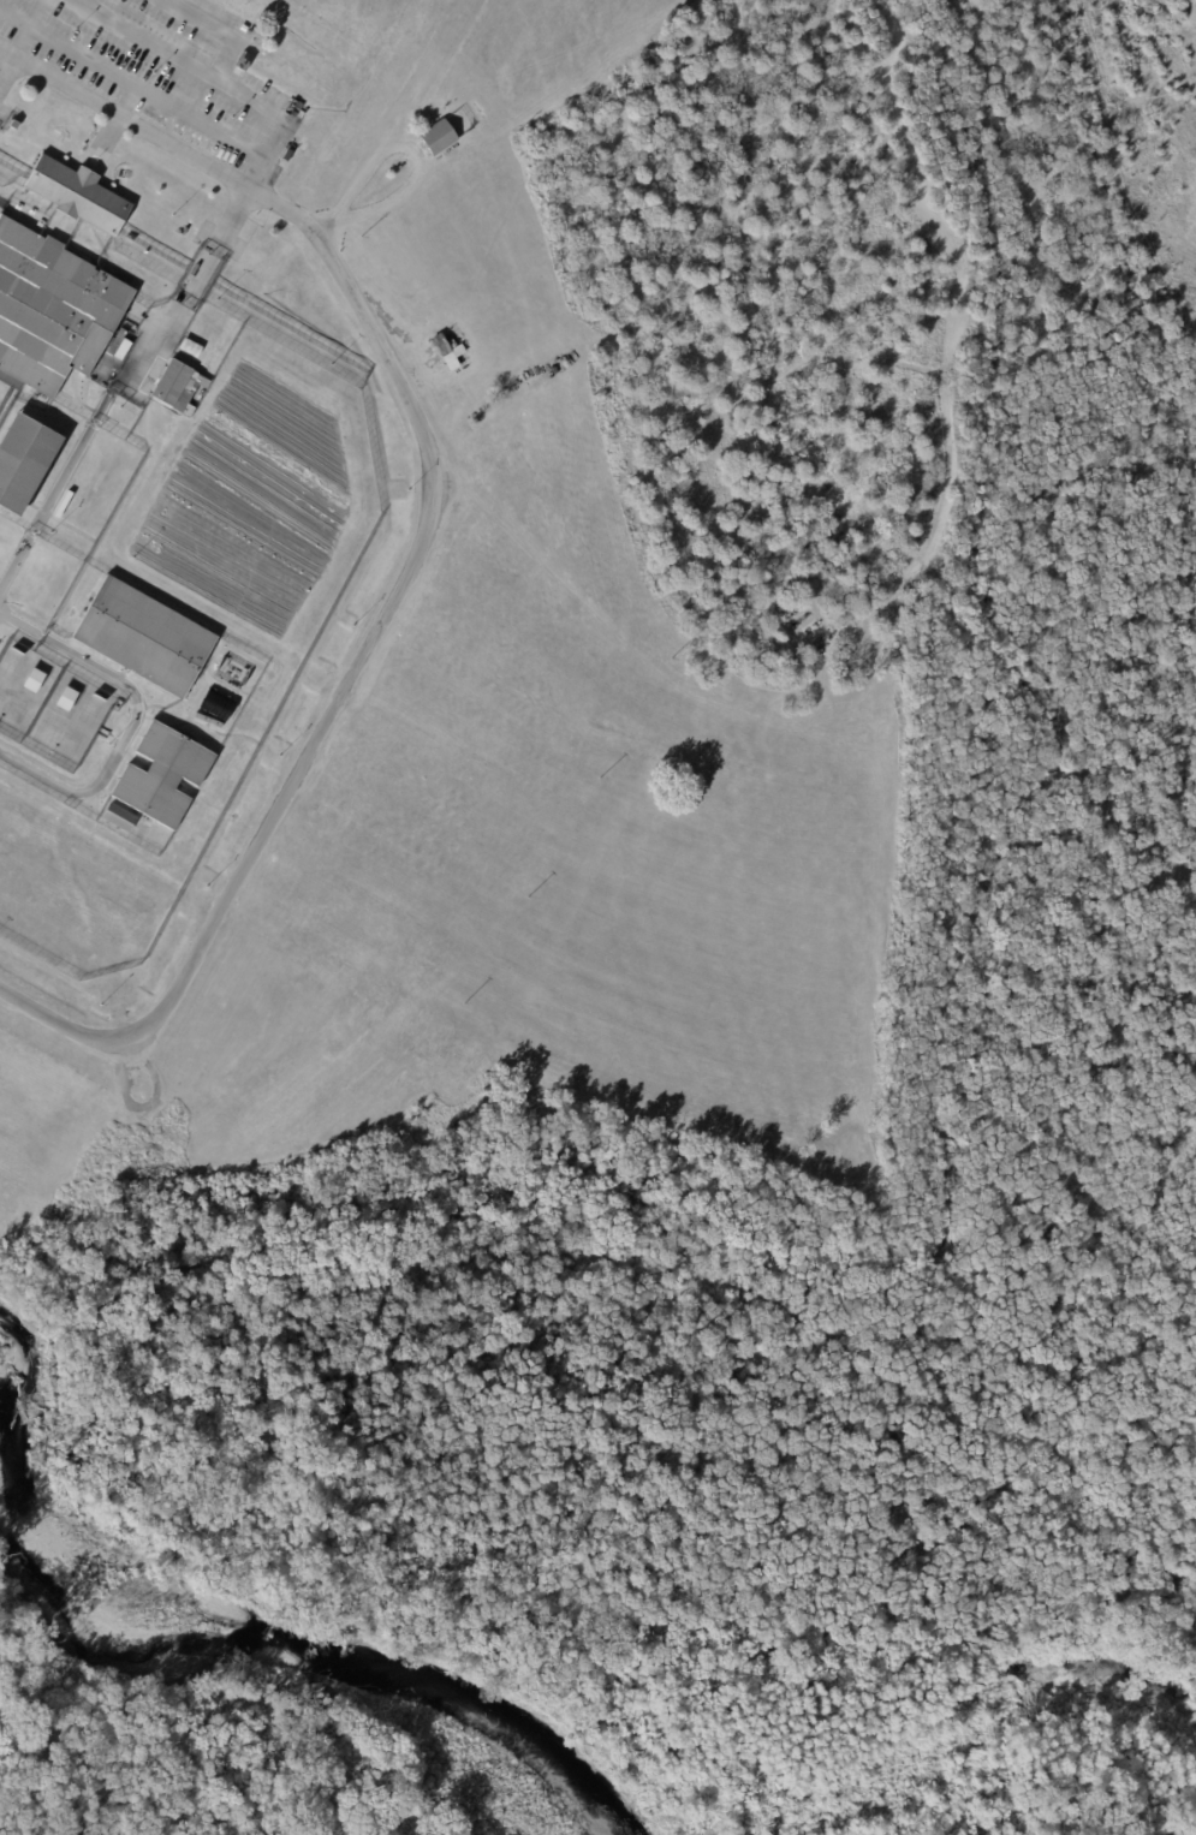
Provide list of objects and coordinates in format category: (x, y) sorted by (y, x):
road: (30, 28)
road: (219, 29)
road: (183, 58)
building: (244, 60)
road: (7, 71)
road: (132, 83)
road: (126, 99)
building: (12, 124)
road: (107, 136)
building: (441, 137)
road: (403, 147)
road: (269, 153)
building: (76, 195)
building: (8, 209)
building: (22, 216)
building: (31, 222)
building: (52, 311)
building: (190, 347)
building: (447, 352)
road: (123, 386)
building: (177, 387)
building: (23, 463)
road: (420, 548)
building: (143, 638)
building: (32, 681)
building: (66, 701)
building: (216, 704)
road: (135, 719)
building: (162, 776)
building: (118, 818)
park: (654, 1501)
park: (1154, 1757)

